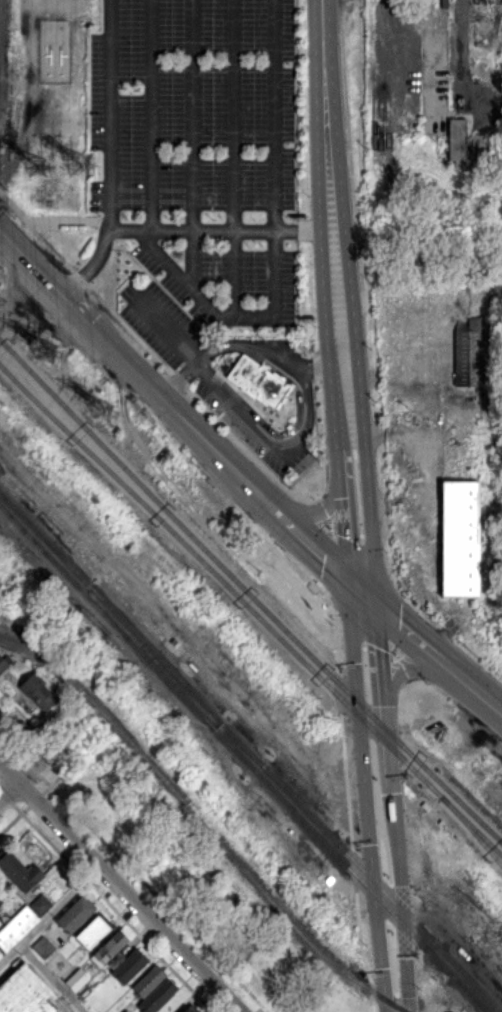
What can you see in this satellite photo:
building: (445, 4)
road: (324, 36)
road: (112, 115)
road: (152, 115)
building: (464, 141)
road: (193, 144)
parking lot: (202, 151)
road: (234, 160)
power tower: (80, 163)
power tower: (38, 164)
road: (58, 220)
road: (298, 230)
road: (194, 231)
road: (345, 233)
road: (320, 243)
road: (276, 247)
road: (93, 267)
parking lot: (162, 322)
road: (168, 330)
road: (250, 346)
building: (469, 352)
power tower: (44, 355)
road: (153, 355)
road: (135, 367)
road: (317, 368)
road: (181, 380)
building: (257, 380)
road: (300, 399)
power tower: (105, 408)
parking lot: (252, 426)
road: (363, 431)
road: (271, 442)
road: (336, 450)
road: (317, 508)
road: (280, 512)
road: (343, 535)
road: (370, 537)
building: (459, 538)
road: (331, 547)
road: (317, 551)
road: (308, 577)
traffic signals: (347, 583)
railway: (249, 592)
road: (361, 594)
traffic signals: (375, 606)
railway: (251, 608)
road: (420, 644)
railway: (153, 656)
building: (4, 662)
traffic signals: (410, 666)
road: (407, 667)
road: (356, 683)
building: (38, 691)
road: (484, 696)
road: (384, 700)
railway: (250, 752)
road: (44, 756)
railway: (244, 758)
road: (348, 807)
railway: (203, 822)
railway: (472, 829)
building: (19, 871)
road: (120, 888)
road: (375, 898)
building: (0, 901)
road: (402, 902)
building: (40, 904)
building: (74, 914)
road: (50, 915)
building: (0, 919)
building: (16, 926)
building: (92, 931)
building: (42, 946)
building: (110, 946)
building: (0, 953)
building: (129, 965)
road: (52, 978)
building: (76, 979)
building: (148, 980)
building: (25, 993)
railway: (468, 994)
building: (157, 995)
building: (190, 1009)

